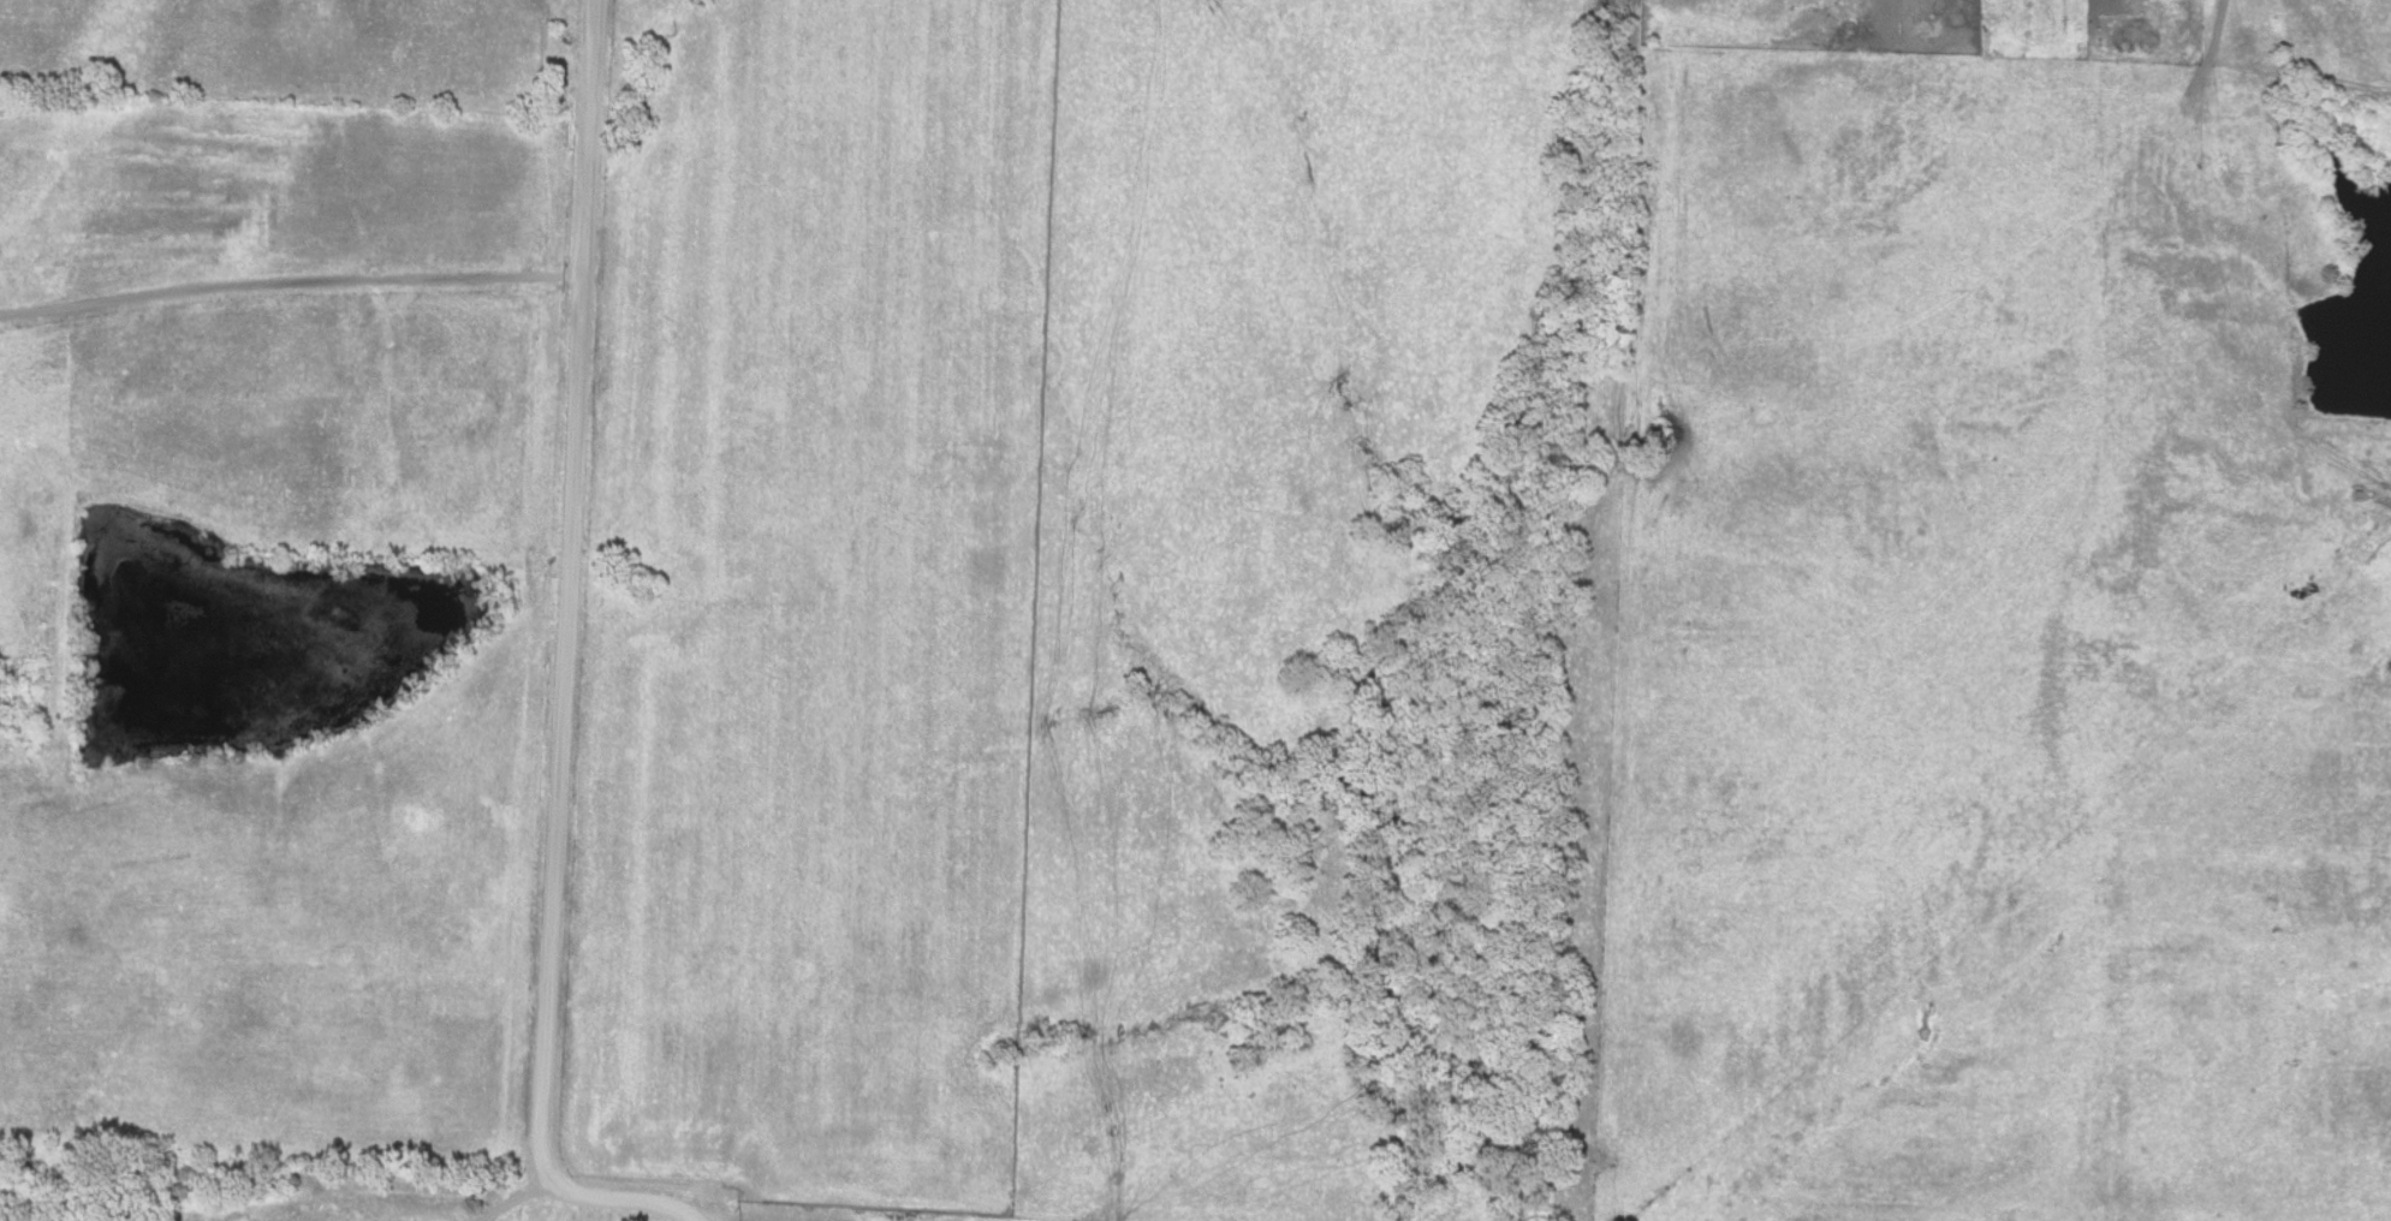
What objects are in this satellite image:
road: (290, 287)
road: (565, 669)
road: (439, 1210)

